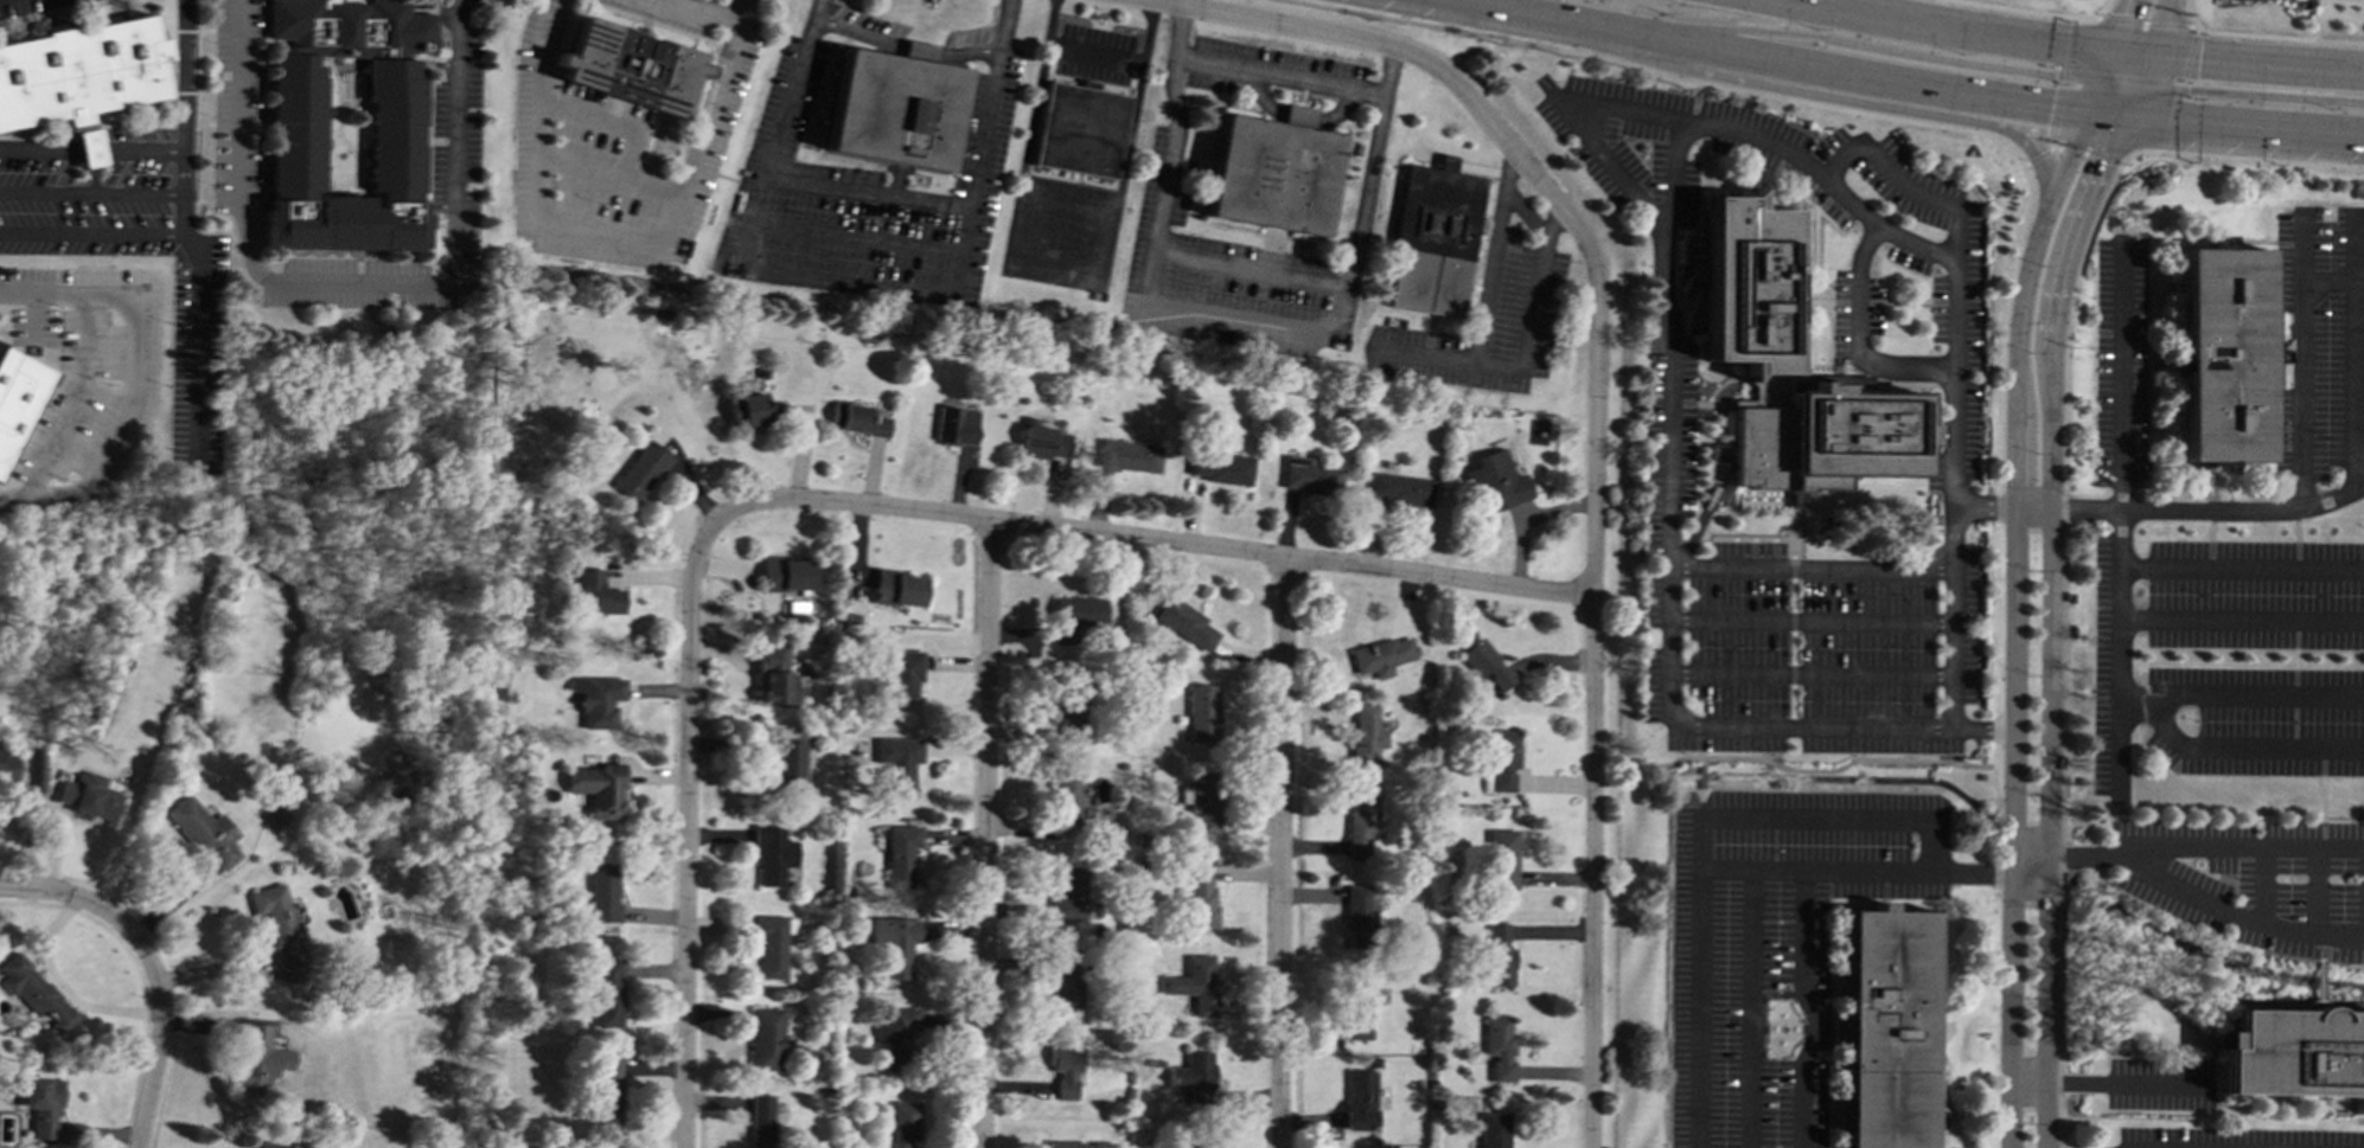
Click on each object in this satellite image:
road: (710, 9)
road: (2033, 11)
road: (1522, 14)
traffic signals: (2129, 14)
road: (2145, 23)
road: (2161, 27)
road: (1969, 32)
road: (1631, 34)
road: (2266, 36)
road: (1338, 37)
road: (905, 49)
road: (2066, 50)
road: (1094, 51)
road: (1908, 52)
road: (2111, 54)
traffic signals: (2198, 59)
road: (2256, 63)
building: (631, 65)
traffic signals: (2055, 75)
road: (1279, 76)
building: (79, 78)
road: (1891, 79)
road: (2135, 83)
road: (2178, 86)
road: (2224, 94)
road: (1840, 98)
traffic signals: (2050, 105)
road: (1832, 107)
building: (894, 108)
road: (2056, 115)
road: (612, 124)
road: (2242, 124)
building: (1080, 128)
building: (298, 135)
road: (1757, 139)
road: (91, 150)
road: (2085, 152)
road: (2069, 153)
road: (2034, 155)
road: (2262, 160)
traffic signals: (2100, 162)
building: (1272, 171)
road: (612, 174)
road: (726, 177)
road: (864, 192)
road: (91, 193)
road: (1950, 207)
road: (1066, 209)
road: (1553, 220)
road: (90, 235)
road: (624, 236)
road: (2355, 236)
road: (856, 237)
building: (1435, 238)
road: (184, 239)
road: (1062, 268)
road: (1252, 269)
road: (2327, 276)
road: (356, 281)
road: (861, 287)
road: (1535, 297)
road: (1484, 302)
road: (1232, 320)
road: (1858, 341)
building: (2221, 354)
road: (2301, 359)
road: (2355, 370)
building: (1789, 373)
road: (134, 377)
road: (71, 397)
building: (18, 399)
building: (754, 409)
building: (855, 419)
building: (956, 425)
road: (1669, 428)
building: (1041, 441)
building: (1127, 455)
building: (1219, 467)
building: (640, 470)
building: (1309, 476)
building: (1494, 481)
building: (1398, 492)
road: (2034, 508)
road: (2242, 509)
road: (2117, 518)
road: (1769, 538)
road: (2210, 538)
road: (2295, 539)
road: (1149, 541)
road: (1810, 567)
road: (2241, 567)
building: (786, 573)
building: (897, 589)
building: (594, 592)
building: (1075, 617)
road: (2241, 620)
road: (1809, 621)
parking lot: (1791, 622)
building: (1183, 623)
road: (2050, 623)
road: (2062, 627)
road: (1592, 629)
road: (1791, 633)
road: (1951, 648)
building: (1380, 656)
road: (2294, 656)
building: (1486, 663)
road: (2014, 669)
building: (774, 674)
building: (900, 674)
road: (1809, 675)
road: (2089, 691)
road: (2256, 694)
building: (598, 700)
building: (1069, 708)
building: (1201, 713)
road: (2293, 723)
building: (1365, 733)
road: (1697, 742)
road: (2225, 751)
building: (1501, 759)
building: (897, 761)
building: (7, 763)
building: (787, 764)
road: (1807, 770)
road: (1700, 772)
building: (598, 788)
building: (91, 796)
road: (2321, 800)
building: (1202, 801)
road: (1700, 803)
building: (277, 816)
building: (1362, 825)
building: (205, 833)
road: (685, 834)
road: (984, 834)
road: (1704, 842)
road: (1280, 853)
building: (901, 854)
building: (773, 855)
building: (1501, 859)
road: (2117, 861)
road: (2028, 867)
road: (1753, 872)
building: (602, 892)
building: (1197, 894)
building: (1068, 896)
road: (71, 897)
building: (1360, 916)
building: (281, 931)
road: (1804, 941)
building: (772, 943)
building: (895, 943)
parking lot: (1775, 945)
building: (1497, 956)
building: (1195, 983)
building: (1065, 985)
road: (63, 988)
building: (36, 993)
building: (606, 994)
building: (1357, 1008)
road: (1750, 1009)
building: (1885, 1028)
building: (895, 1037)
road: (160, 1038)
building: (765, 1038)
building: (1497, 1047)
building: (2292, 1052)
building: (258, 1057)
building: (1065, 1069)
building: (1195, 1078)
road: (2104, 1082)
building: (607, 1090)
building: (1359, 1099)
building: (43, 1105)
building: (759, 1121)
building: (902, 1123)
building: (1493, 1130)
building: (1080, 1144)
building: (279, 1146)
building: (1194, 1147)

